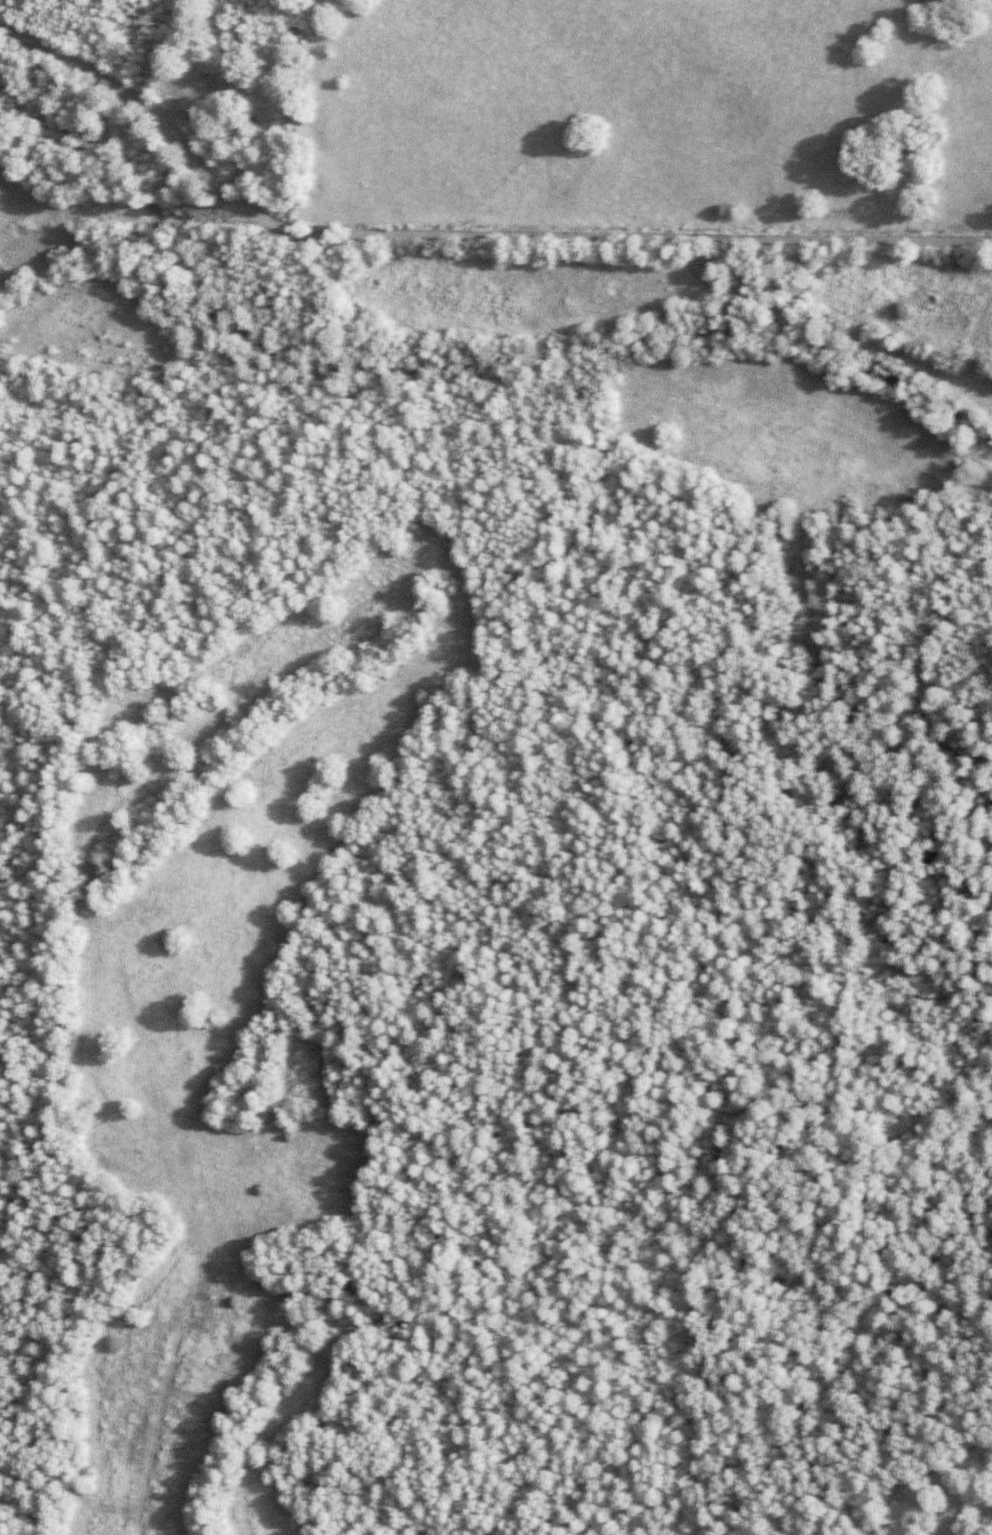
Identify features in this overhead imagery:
road: (461, 237)

